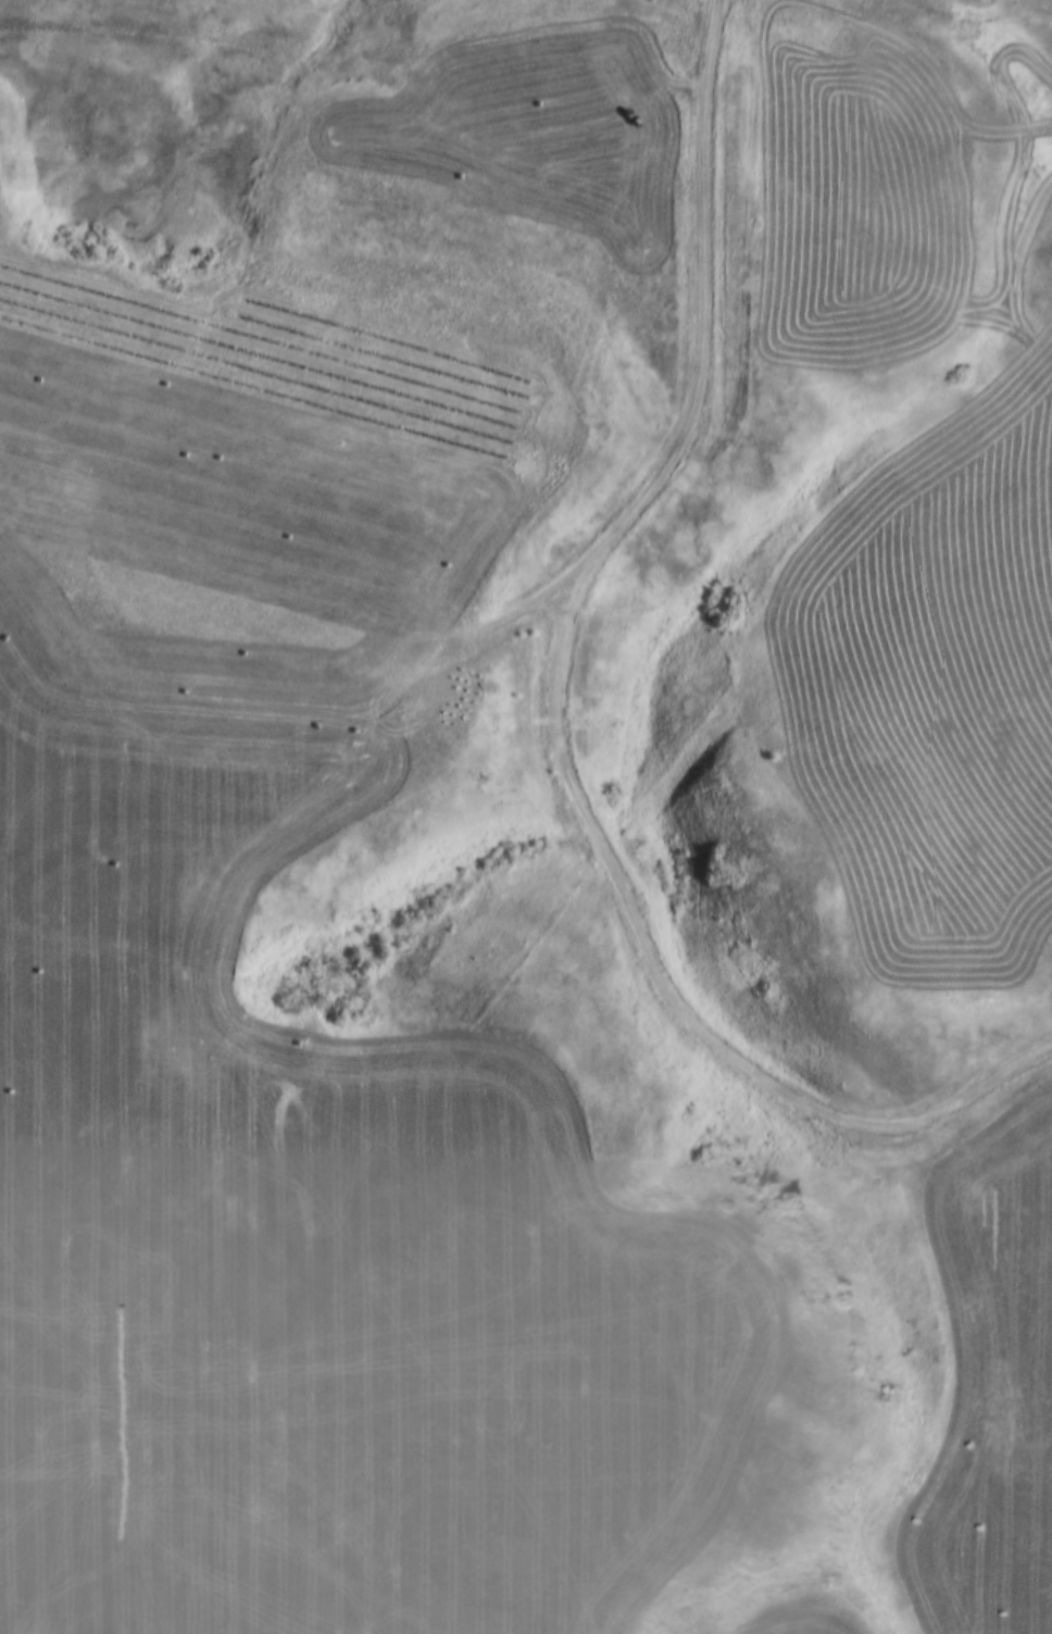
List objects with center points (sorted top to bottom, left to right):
quarry: (263, 478)
road: (552, 722)

